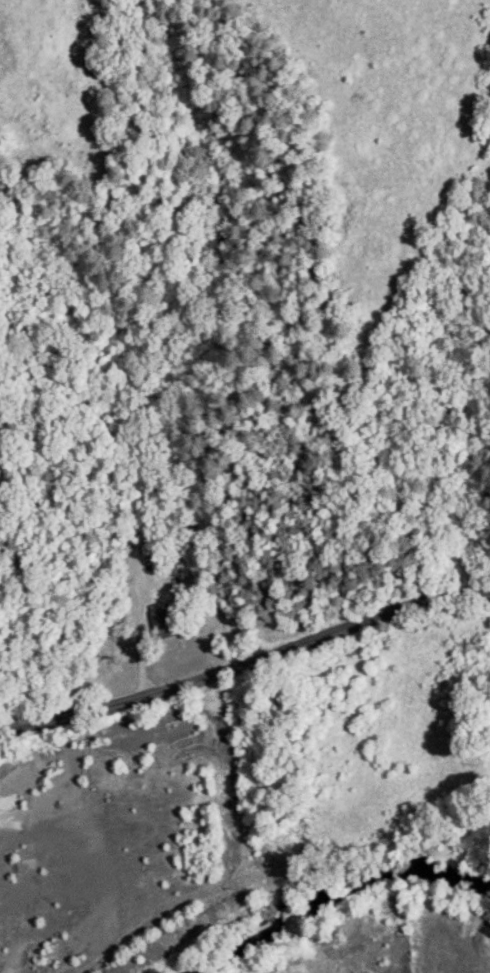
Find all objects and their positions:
building: (161, 619)
road: (245, 662)

